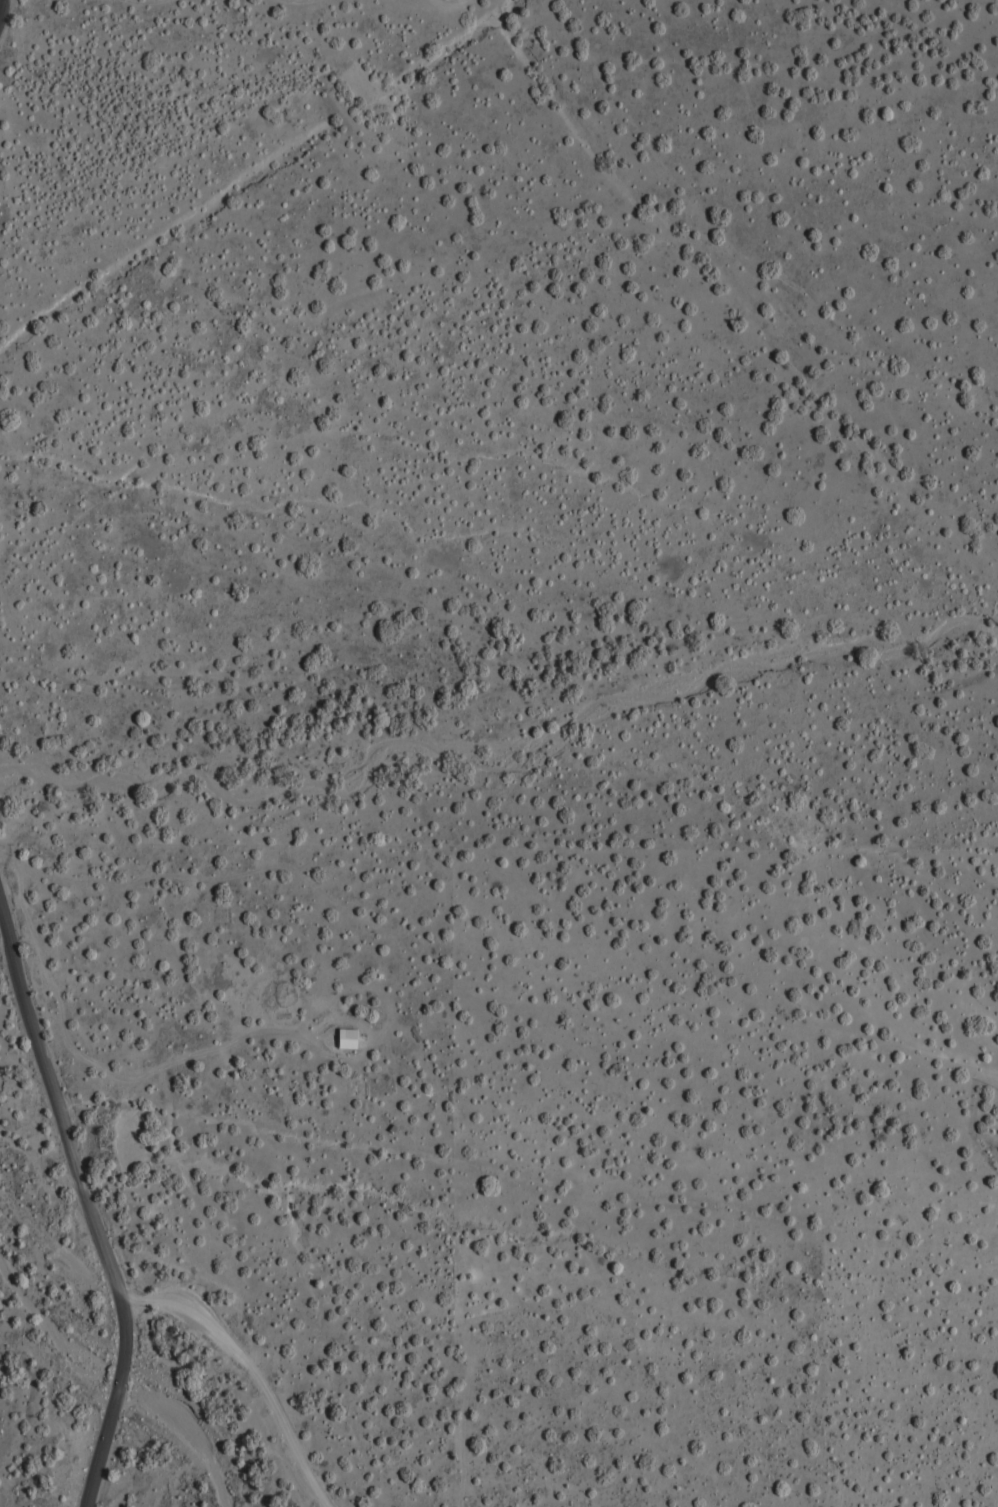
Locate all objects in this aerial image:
road: (6, 18)
building: (353, 1038)
road: (88, 1208)

